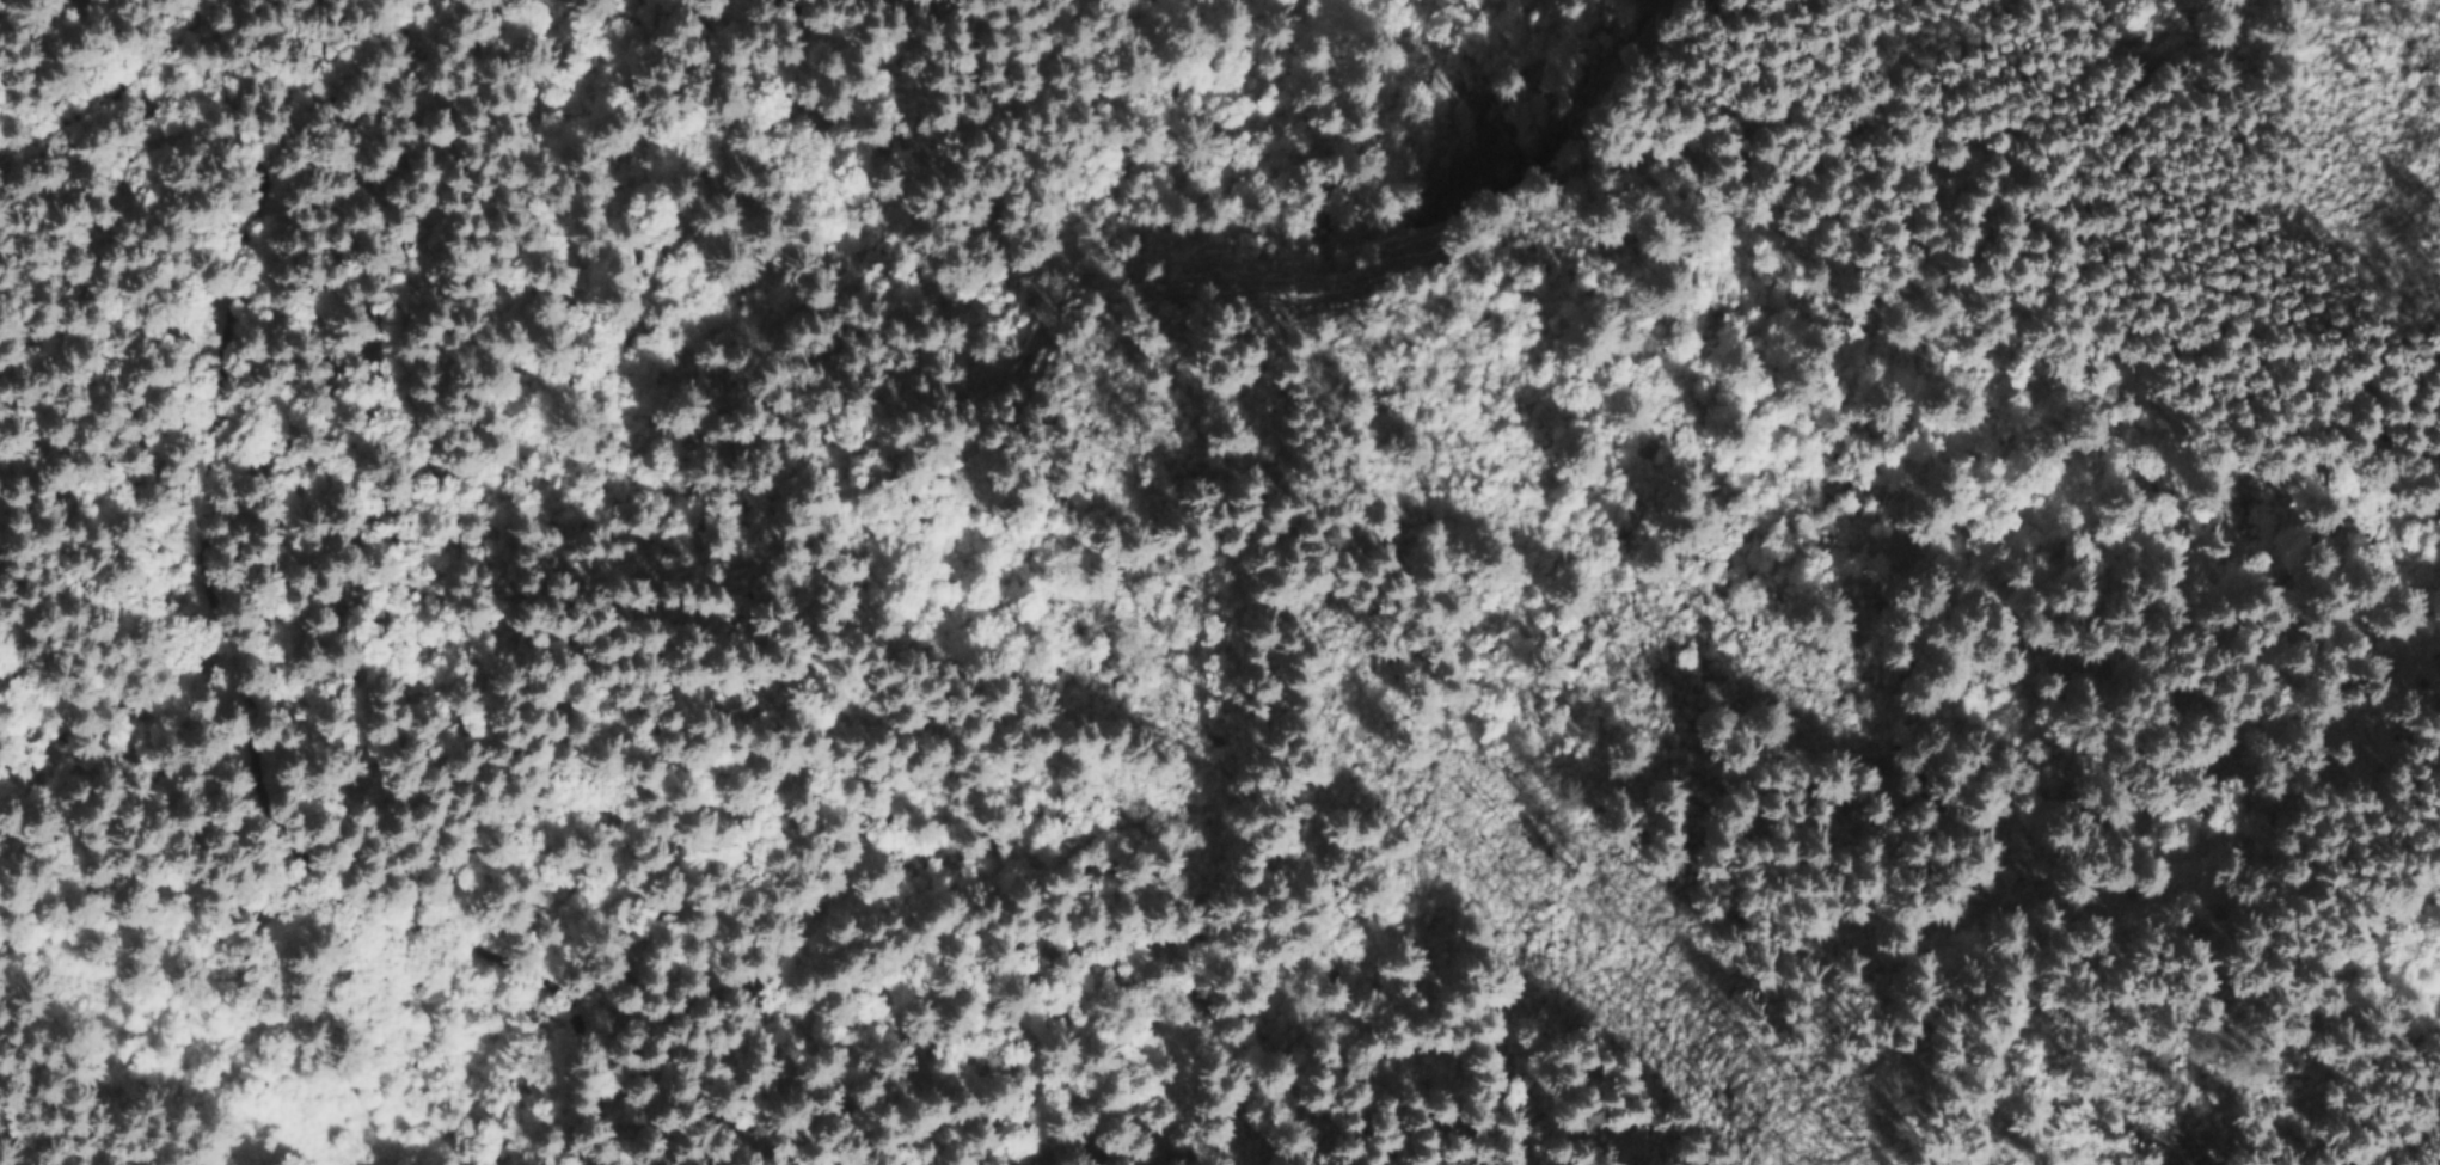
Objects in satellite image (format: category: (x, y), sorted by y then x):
road: (117, 94)
road: (232, 637)

